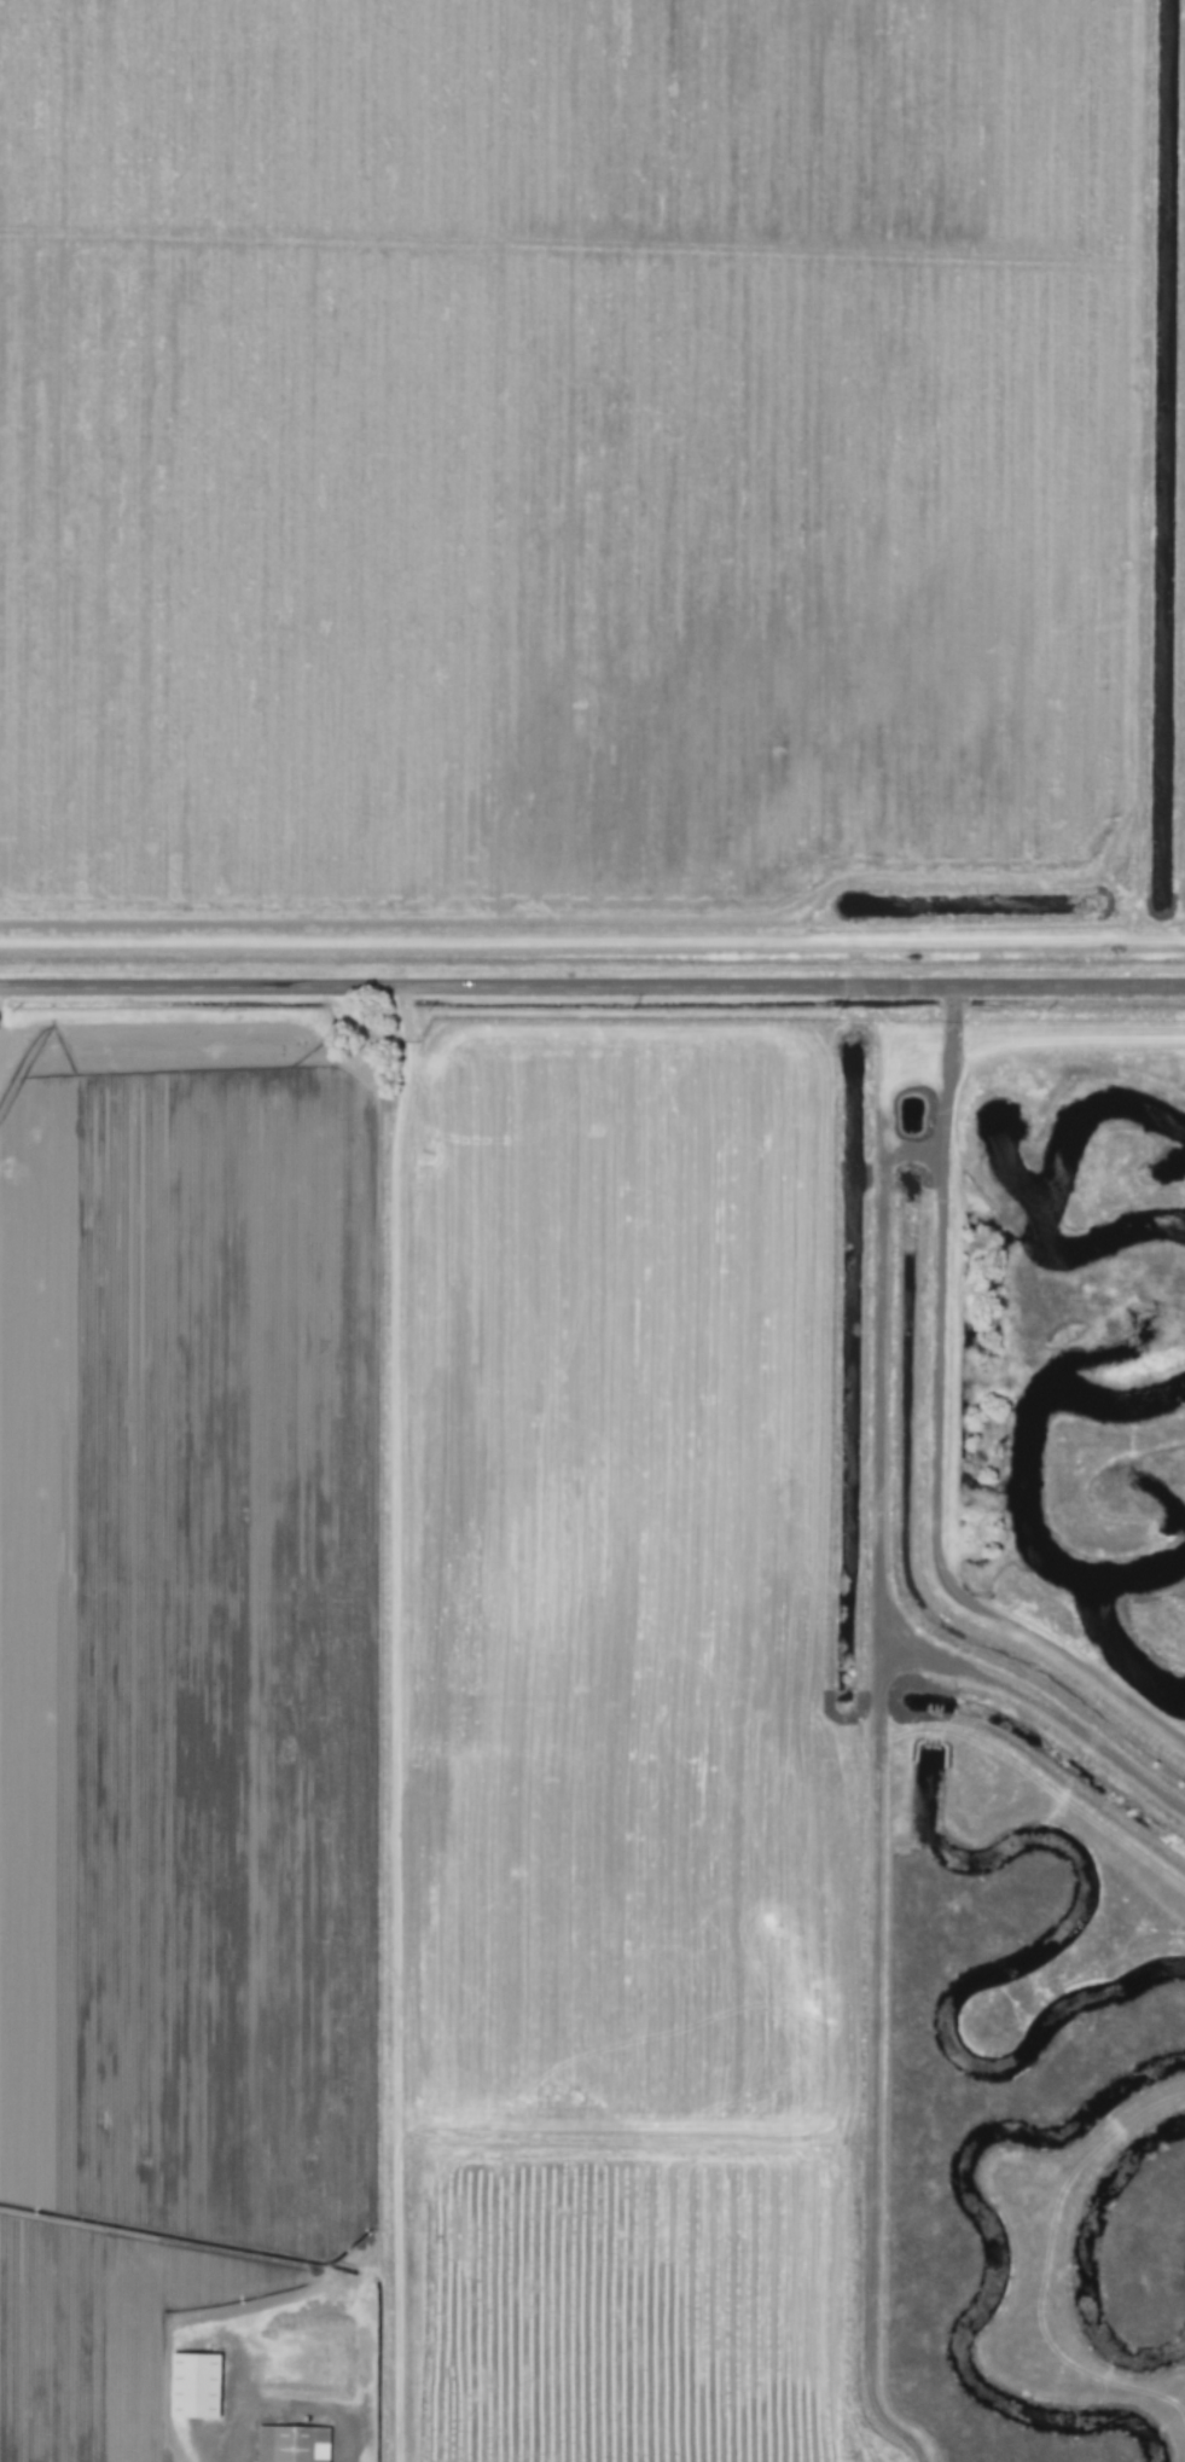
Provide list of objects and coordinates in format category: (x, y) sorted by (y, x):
crop: (591, 471)
road: (592, 987)
building: (194, 2382)
road: (236, 2408)
building: (291, 2443)

